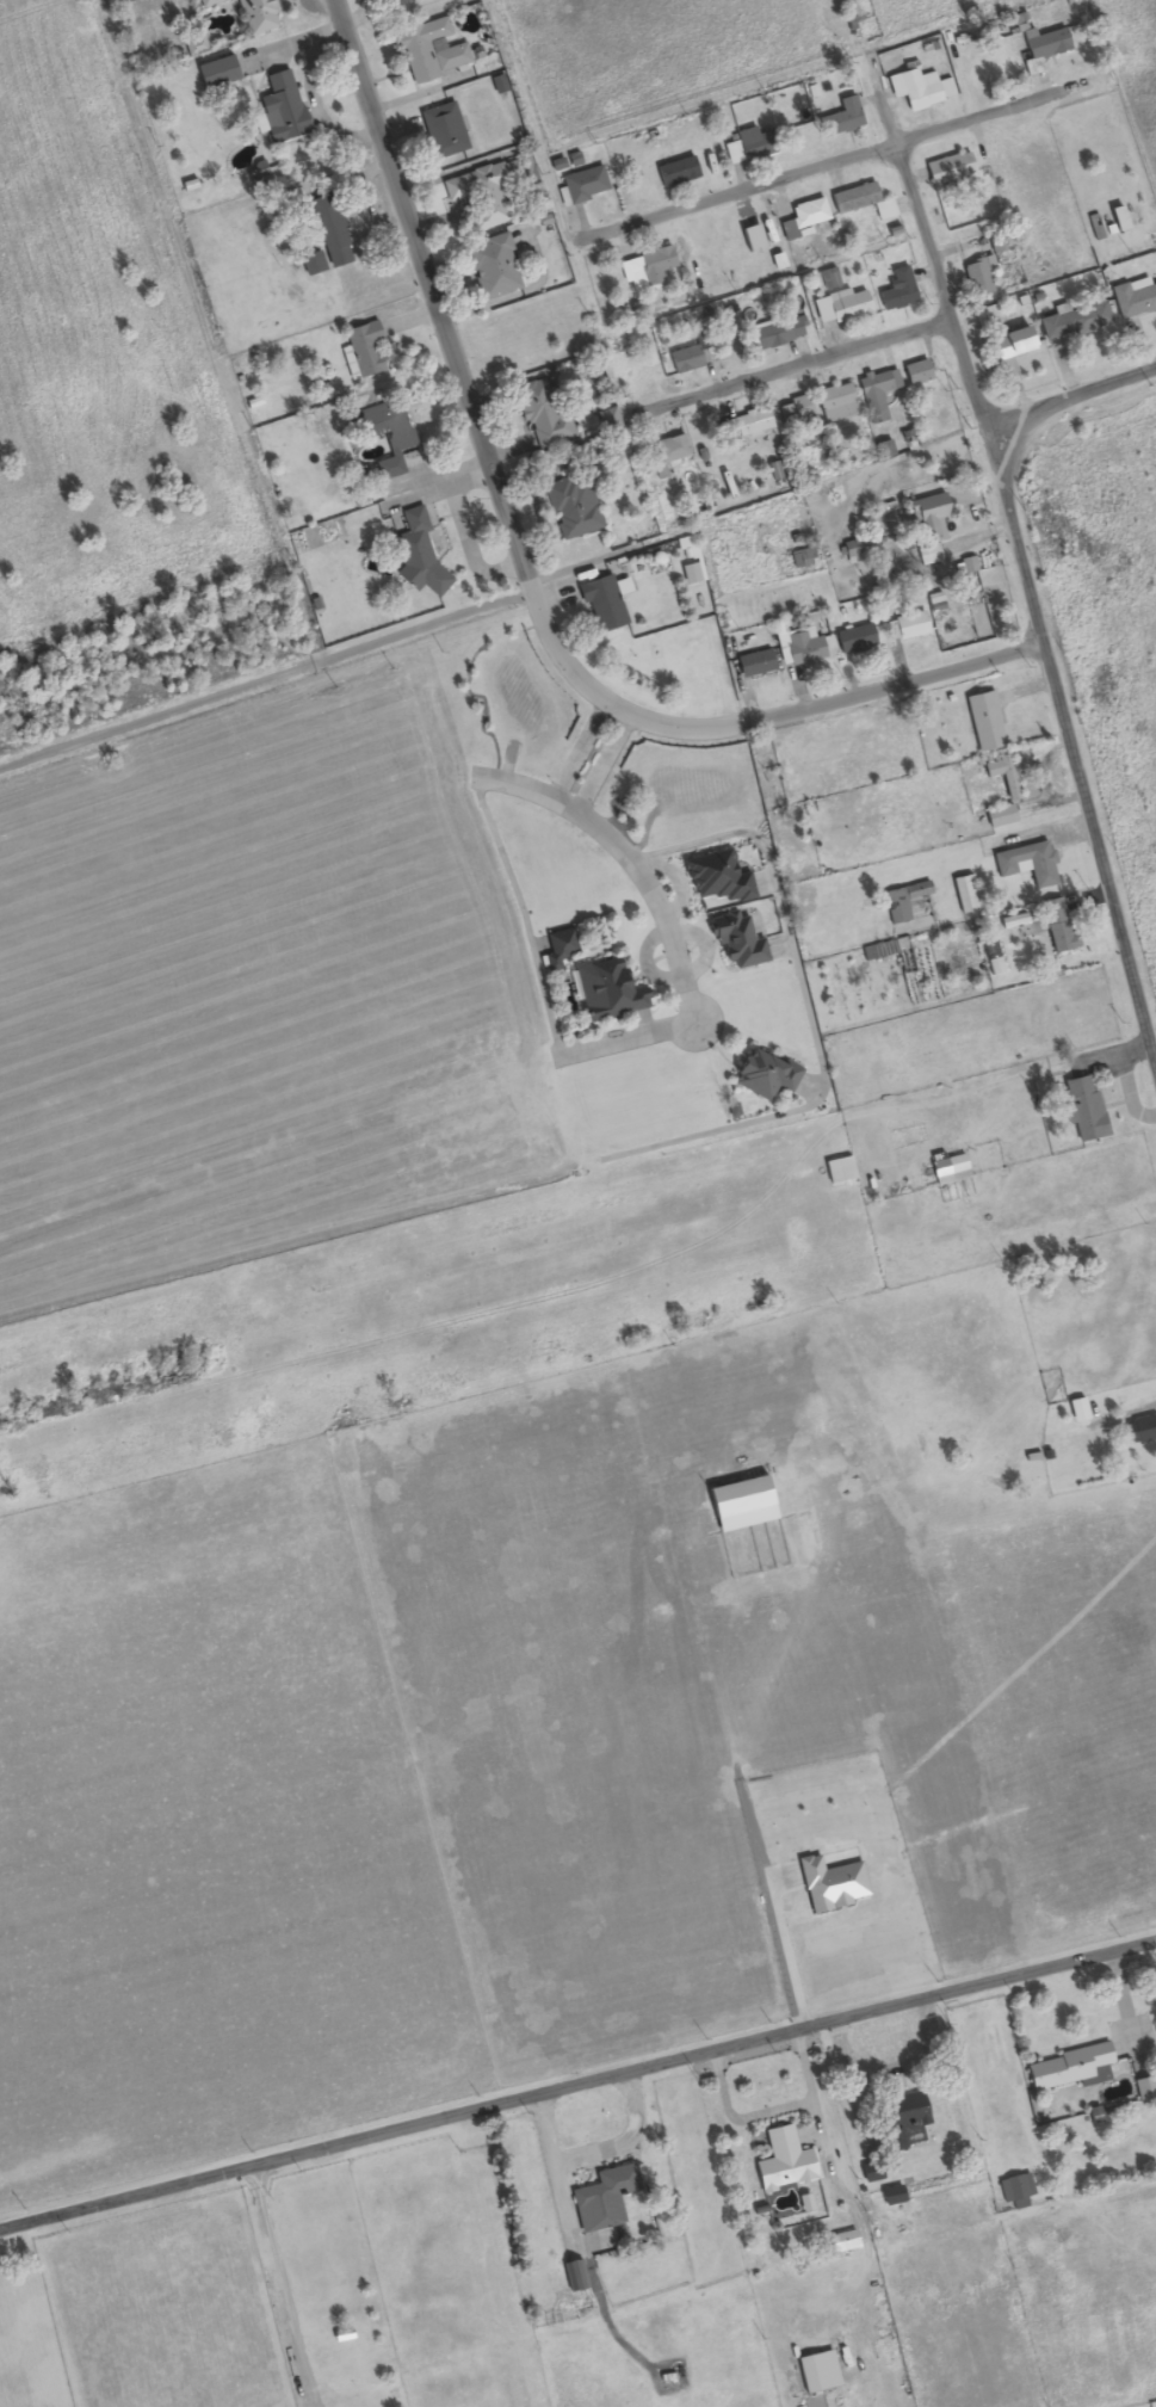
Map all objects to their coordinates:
building: (391, 1)
building: (214, 2)
building: (258, 16)
building: (194, 48)
building: (1043, 49)
building: (432, 51)
building: (922, 91)
building: (282, 110)
building: (840, 121)
building: (443, 131)
building: (743, 147)
road: (815, 162)
building: (947, 169)
building: (675, 173)
building: (585, 185)
building: (482, 195)
building: (861, 203)
building: (804, 218)
building: (1118, 220)
building: (328, 232)
building: (752, 240)
building: (311, 264)
building: (493, 269)
building: (645, 270)
building: (978, 277)
building: (896, 291)
building: (1133, 298)
building: (841, 307)
building: (985, 316)
building: (1072, 322)
building: (778, 334)
building: (1010, 344)
building: (365, 350)
building: (684, 359)
road: (799, 364)
building: (916, 372)
road: (460, 393)
building: (877, 394)
road: (1068, 395)
building: (835, 403)
building: (795, 411)
building: (542, 415)
building: (743, 426)
building: (397, 438)
building: (883, 450)
building: (667, 453)
building: (571, 507)
building: (928, 520)
building: (416, 554)
building: (928, 556)
road: (1016, 563)
building: (601, 604)
building: (907, 627)
building: (854, 640)
building: (803, 649)
building: (753, 665)
road: (265, 693)
road: (832, 702)
building: (984, 722)
building: (1002, 774)
building: (999, 817)
building: (1041, 869)
building: (964, 895)
building: (895, 907)
building: (1057, 926)
building: (558, 948)
building: (994, 965)
building: (607, 990)
building: (762, 1075)
building: (1082, 1109)
building: (948, 1169)
building: (1098, 1401)
building: (1140, 1431)
building: (1069, 2069)
road: (577, 2082)
building: (901, 2118)
building: (783, 2162)
building: (1014, 2192)
building: (602, 2199)
building: (573, 2277)
road: (322, 2283)

